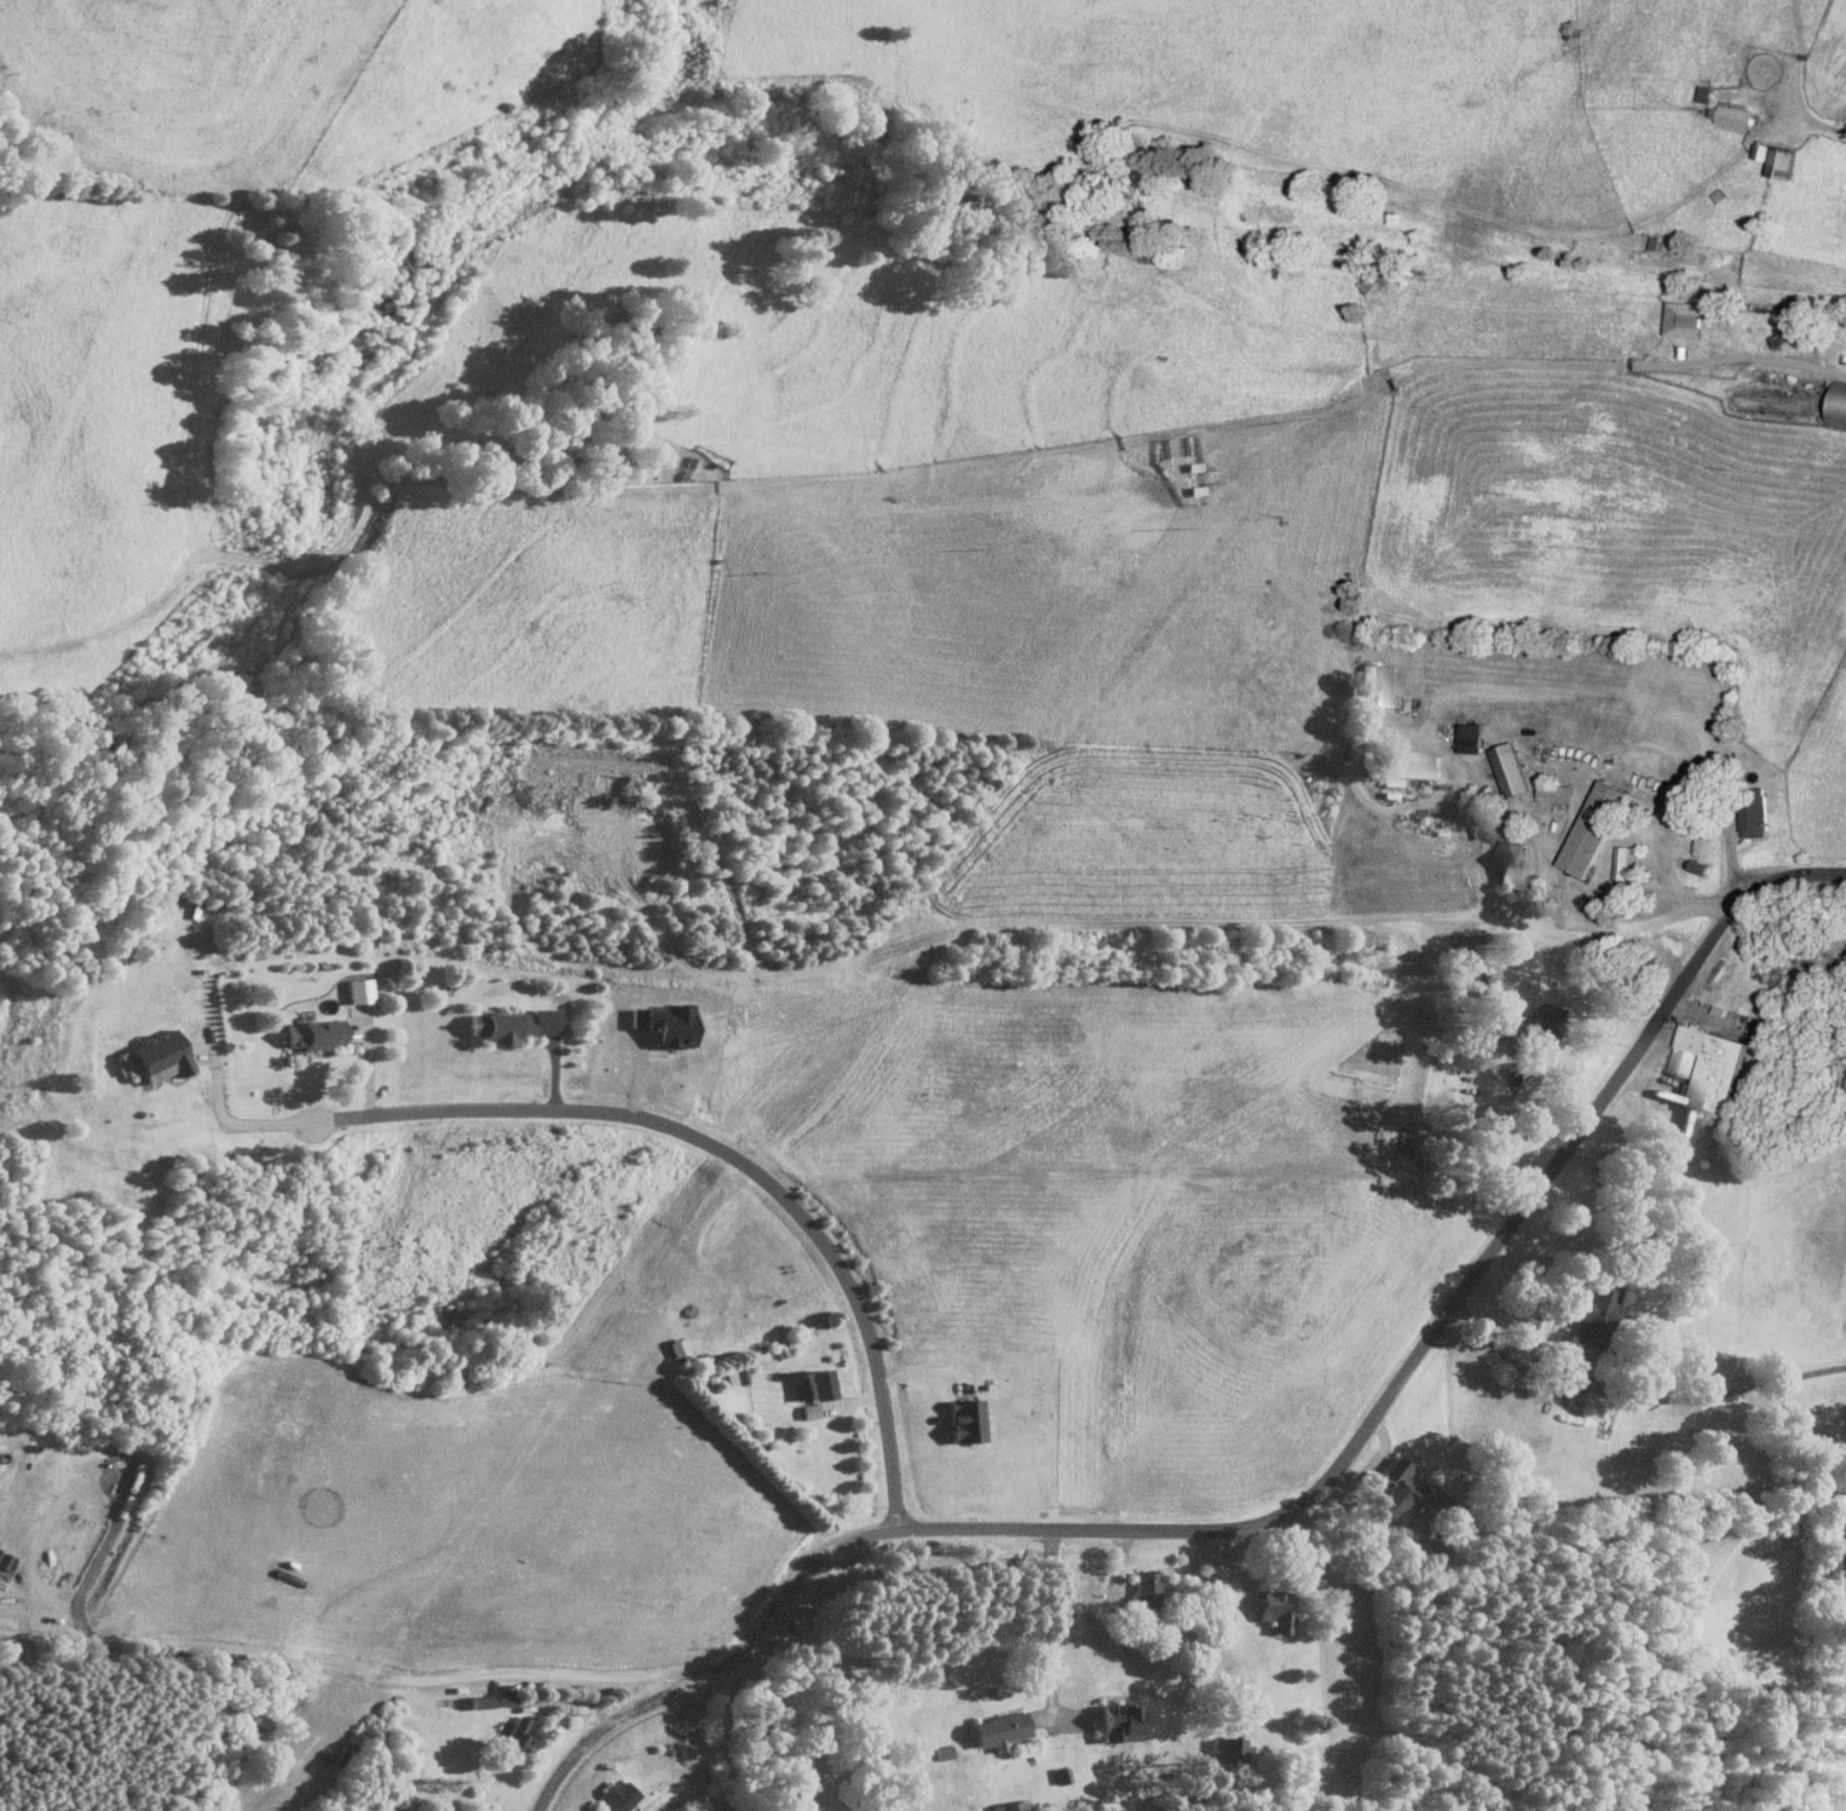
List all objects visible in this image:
building: (1735, 113)
road: (1815, 120)
building: (1778, 157)
building: (1683, 317)
building: (1786, 333)
building: (1838, 404)
road: (1025, 449)
building: (1379, 684)
building: (1471, 737)
building: (1414, 762)
building: (1511, 768)
building: (1556, 790)
building: (1754, 814)
building: (1594, 826)
building: (1628, 861)
building: (1512, 863)
building: (1701, 866)
road: (1605, 894)
building: (358, 988)
building: (510, 1023)
building: (1542, 1028)
building: (317, 1034)
building: (158, 1055)
road: (367, 1061)
building: (1711, 1068)
road: (554, 1075)
road: (223, 1115)
road: (725, 1157)
building: (1593, 1308)
road: (927, 1368)
building: (734, 1372)
building: (817, 1380)
road: (1634, 1394)
road: (841, 1400)
building: (964, 1417)
building: (1394, 1483)
road: (1288, 1509)
building: (1144, 1586)
building: (1274, 1608)
road: (1050, 1616)
road: (362, 1667)
building: (1119, 1719)
building: (999, 1728)
building: (515, 1736)
road: (725, 1738)
building: (1229, 1747)
building: (617, 1794)
building: (1013, 1804)

